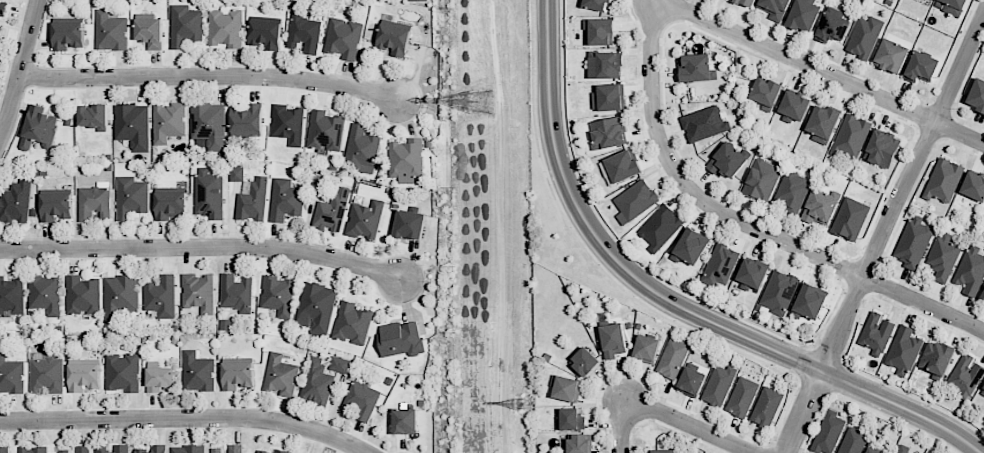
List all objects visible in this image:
building: (417, 0)
building: (931, 0)
building: (746, 2)
building: (595, 4)
building: (951, 6)
building: (3, 7)
building: (774, 8)
building: (803, 15)
building: (185, 25)
building: (0, 27)
building: (831, 27)
building: (225, 28)
building: (110, 31)
building: (599, 31)
building: (149, 32)
building: (67, 33)
building: (303, 33)
building: (265, 34)
building: (393, 35)
building: (864, 37)
building: (343, 38)
building: (890, 55)
building: (604, 65)
road: (21, 67)
building: (695, 67)
building: (920, 67)
road: (823, 72)
road: (208, 75)
building: (765, 93)
building: (976, 95)
building: (608, 97)
power tower: (483, 99)
building: (793, 106)
building: (93, 115)
building: (246, 119)
building: (168, 121)
building: (287, 123)
building: (703, 123)
building: (822, 123)
building: (208, 124)
building: (132, 125)
building: (38, 128)
building: (325, 130)
building: (607, 133)
building: (850, 136)
building: (881, 148)
building: (361, 149)
building: (405, 158)
building: (727, 159)
building: (622, 165)
building: (236, 174)
building: (761, 179)
building: (943, 180)
building: (973, 186)
building: (791, 190)
building: (208, 193)
building: (130, 197)
building: (285, 199)
building: (252, 201)
building: (634, 201)
building: (16, 202)
building: (94, 202)
building: (169, 202)
building: (55, 206)
building: (818, 207)
building: (331, 210)
building: (849, 218)
building: (365, 219)
building: (983, 221)
road: (743, 222)
building: (409, 224)
building: (659, 227)
road: (882, 230)
building: (913, 242)
road: (202, 246)
building: (689, 246)
building: (943, 256)
building: (720, 265)
building: (970, 270)
building: (751, 274)
building: (778, 291)
building: (197, 292)
building: (235, 292)
building: (44, 294)
building: (82, 295)
building: (277, 295)
building: (11, 296)
building: (160, 296)
building: (982, 296)
building: (119, 297)
building: (810, 300)
road: (669, 303)
building: (315, 308)
building: (351, 323)
building: (876, 333)
building: (400, 338)
building: (612, 340)
building: (645, 348)
building: (903, 350)
building: (936, 357)
building: (672, 358)
building: (584, 361)
building: (339, 364)
building: (45, 372)
building: (122, 372)
building: (197, 372)
building: (236, 373)
building: (83, 374)
building: (10, 375)
building: (280, 375)
building: (965, 376)
building: (159, 378)
building: (690, 381)
building: (316, 382)
building: (718, 385)
building: (566, 388)
building: (982, 389)
building: (741, 396)
building: (361, 400)
power tower: (518, 403)
building: (766, 406)
road: (185, 418)
building: (570, 419)
building: (404, 420)
road: (693, 425)
road: (620, 429)
building: (828, 432)
building: (852, 441)
building: (578, 443)
building: (111, 448)
building: (235, 448)
building: (76, 449)
building: (153, 449)
building: (187, 449)
building: (902, 449)
building: (5, 450)
building: (31, 450)
building: (215, 450)
building: (281, 451)
building: (662, 451)
building: (872, 451)
building: (262, 452)

